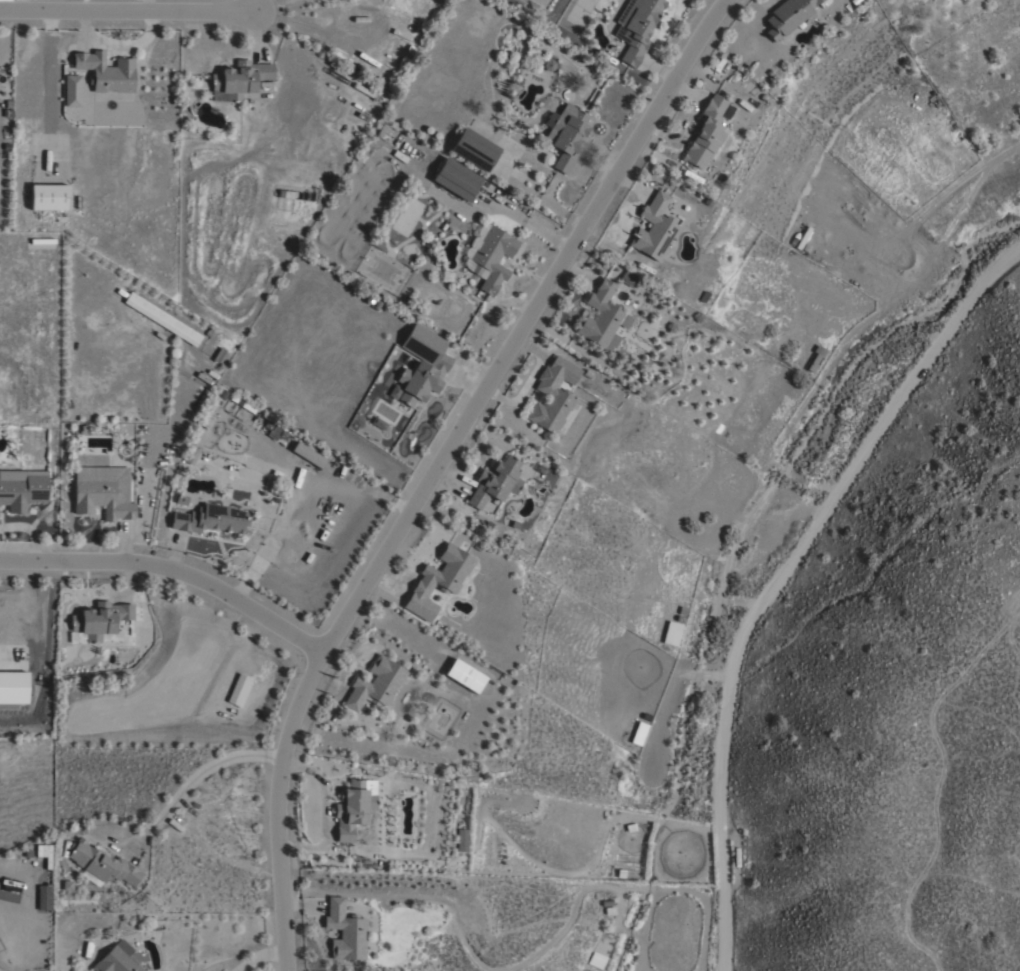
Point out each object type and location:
road: (128, 11)
building: (786, 16)
building: (636, 27)
building: (105, 71)
building: (239, 78)
building: (71, 91)
building: (704, 133)
building: (565, 135)
building: (473, 149)
building: (455, 179)
road: (946, 189)
building: (48, 197)
building: (653, 228)
building: (488, 256)
building: (626, 278)
building: (601, 317)
building: (162, 320)
building: (814, 357)
building: (421, 365)
building: (552, 394)
building: (275, 429)
building: (307, 454)
road: (436, 464)
building: (494, 482)
building: (21, 488)
building: (102, 492)
building: (209, 519)
road: (171, 566)
road: (779, 574)
building: (437, 580)
building: (97, 621)
building: (670, 633)
building: (466, 676)
building: (374, 684)
building: (14, 688)
building: (238, 690)
road: (654, 728)
building: (638, 733)
road: (210, 762)
building: (353, 806)
building: (460, 840)
building: (100, 865)
building: (343, 931)
road: (249, 948)
building: (116, 959)
building: (596, 961)

